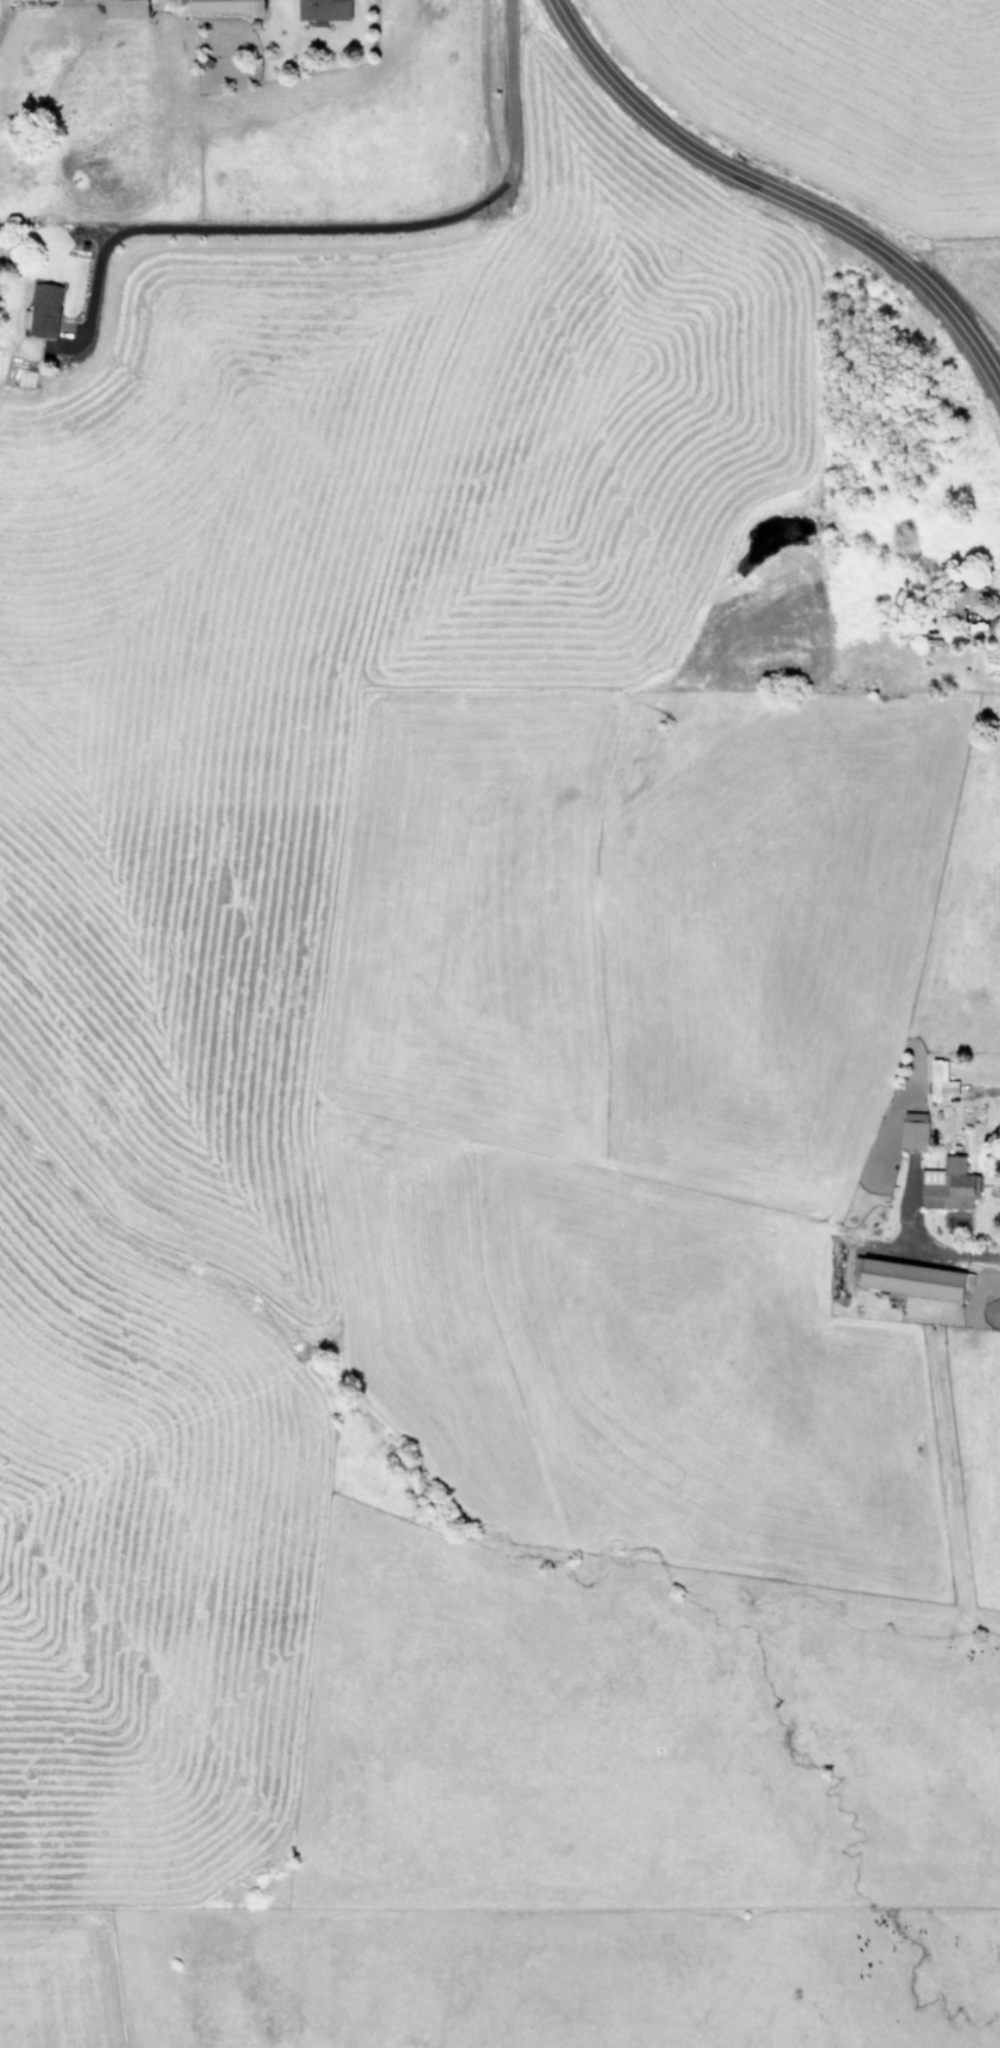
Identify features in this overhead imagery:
building: (126, 8)
building: (324, 8)
crop: (859, 90)
road: (777, 194)
road: (336, 226)
building: (961, 602)
building: (940, 1079)
crop: (466, 1097)
building: (914, 1130)
building: (948, 1184)
road: (929, 1243)
building: (911, 1277)

